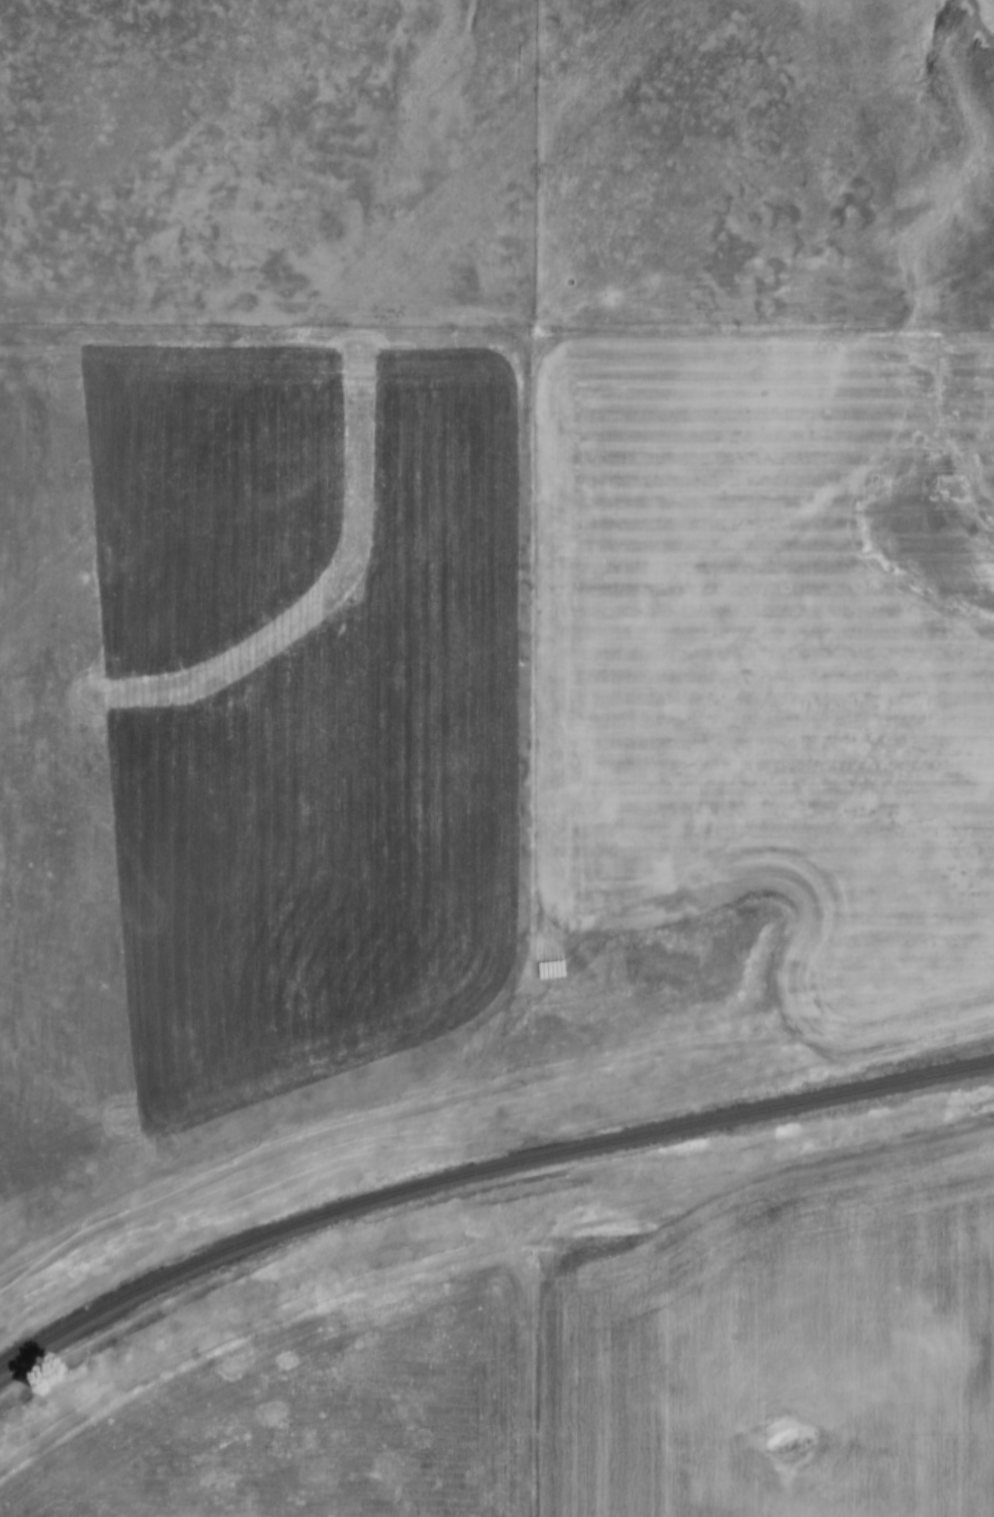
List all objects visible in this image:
road: (160, 307)
railway: (481, 1172)

